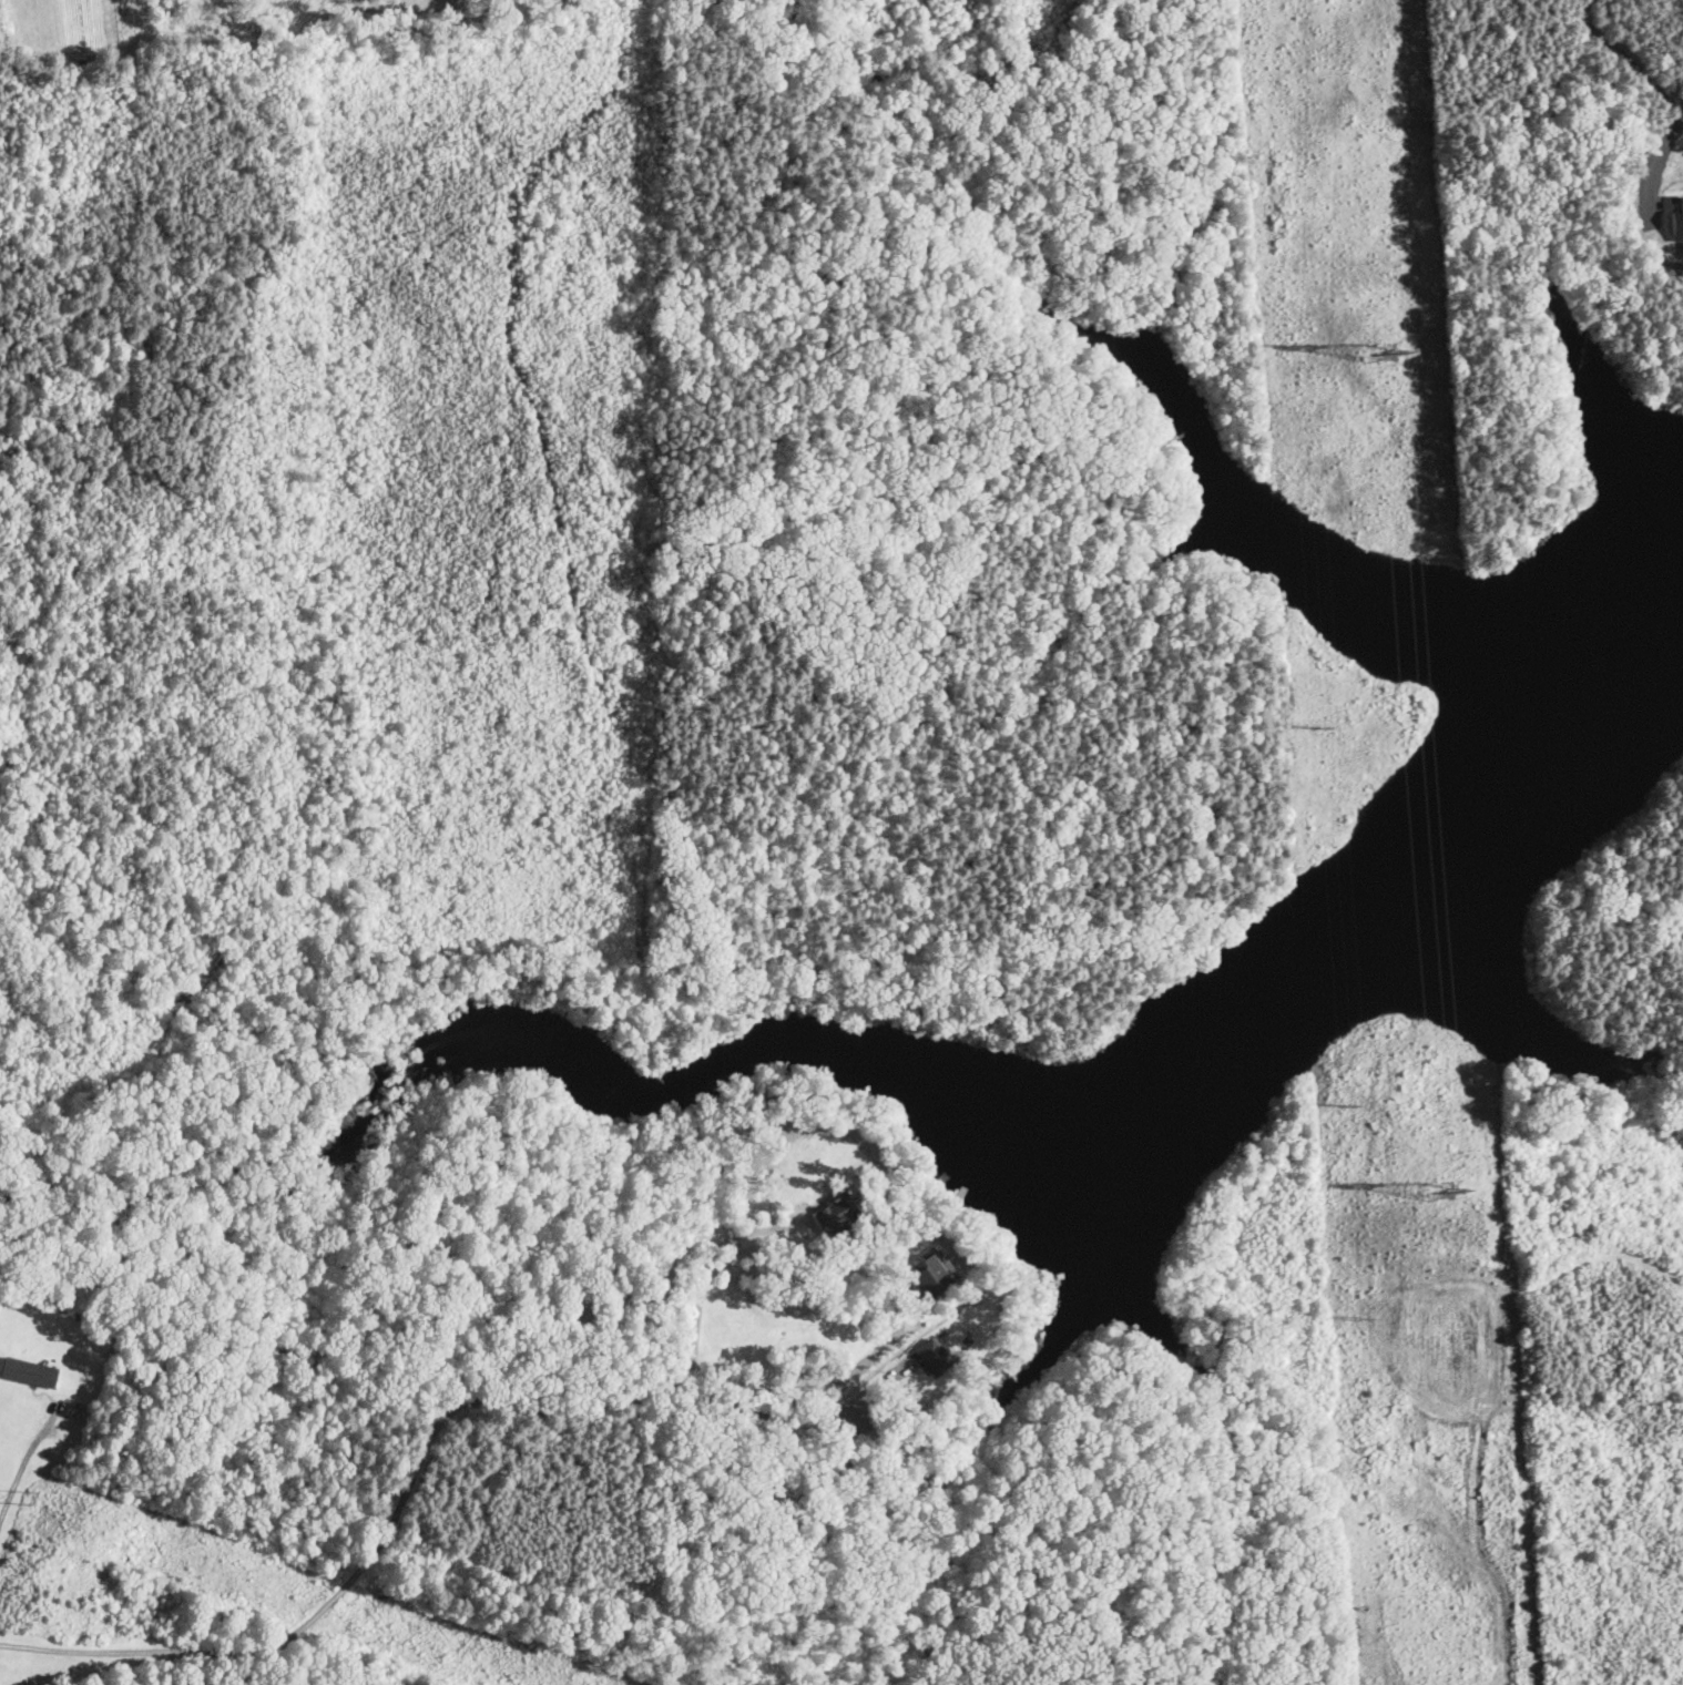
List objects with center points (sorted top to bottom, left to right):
power tower: (1299, 348)
power tower: (1373, 355)
power tower: (1327, 727)
power tower: (1353, 1105)
power tower: (1441, 1176)
building: (837, 1217)
building: (936, 1276)
power tower: (1365, 1319)
building: (31, 1373)
road: (373, 1555)
power tower: (417, 1555)

